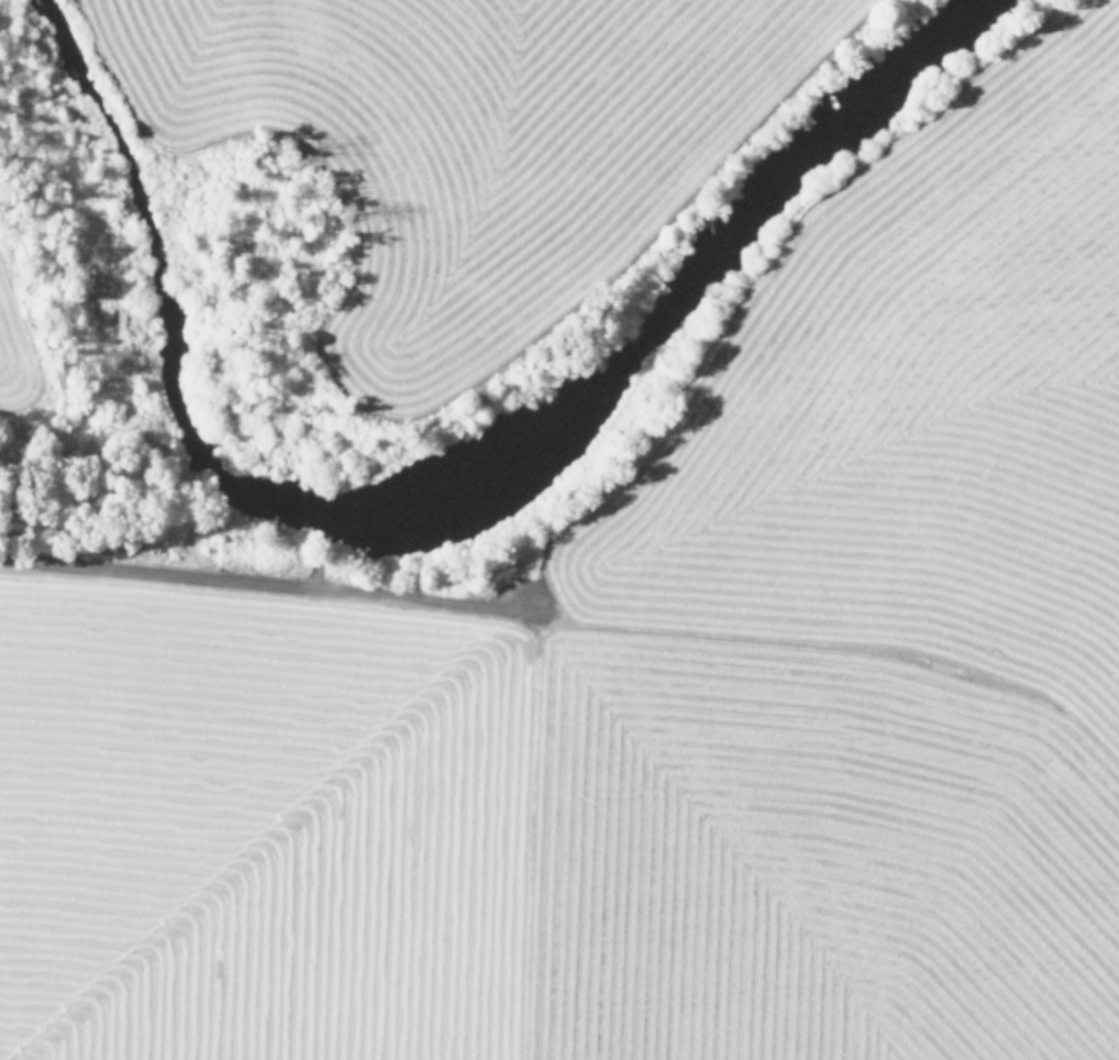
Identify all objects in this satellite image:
crop: (8, 358)
crop: (657, 687)

